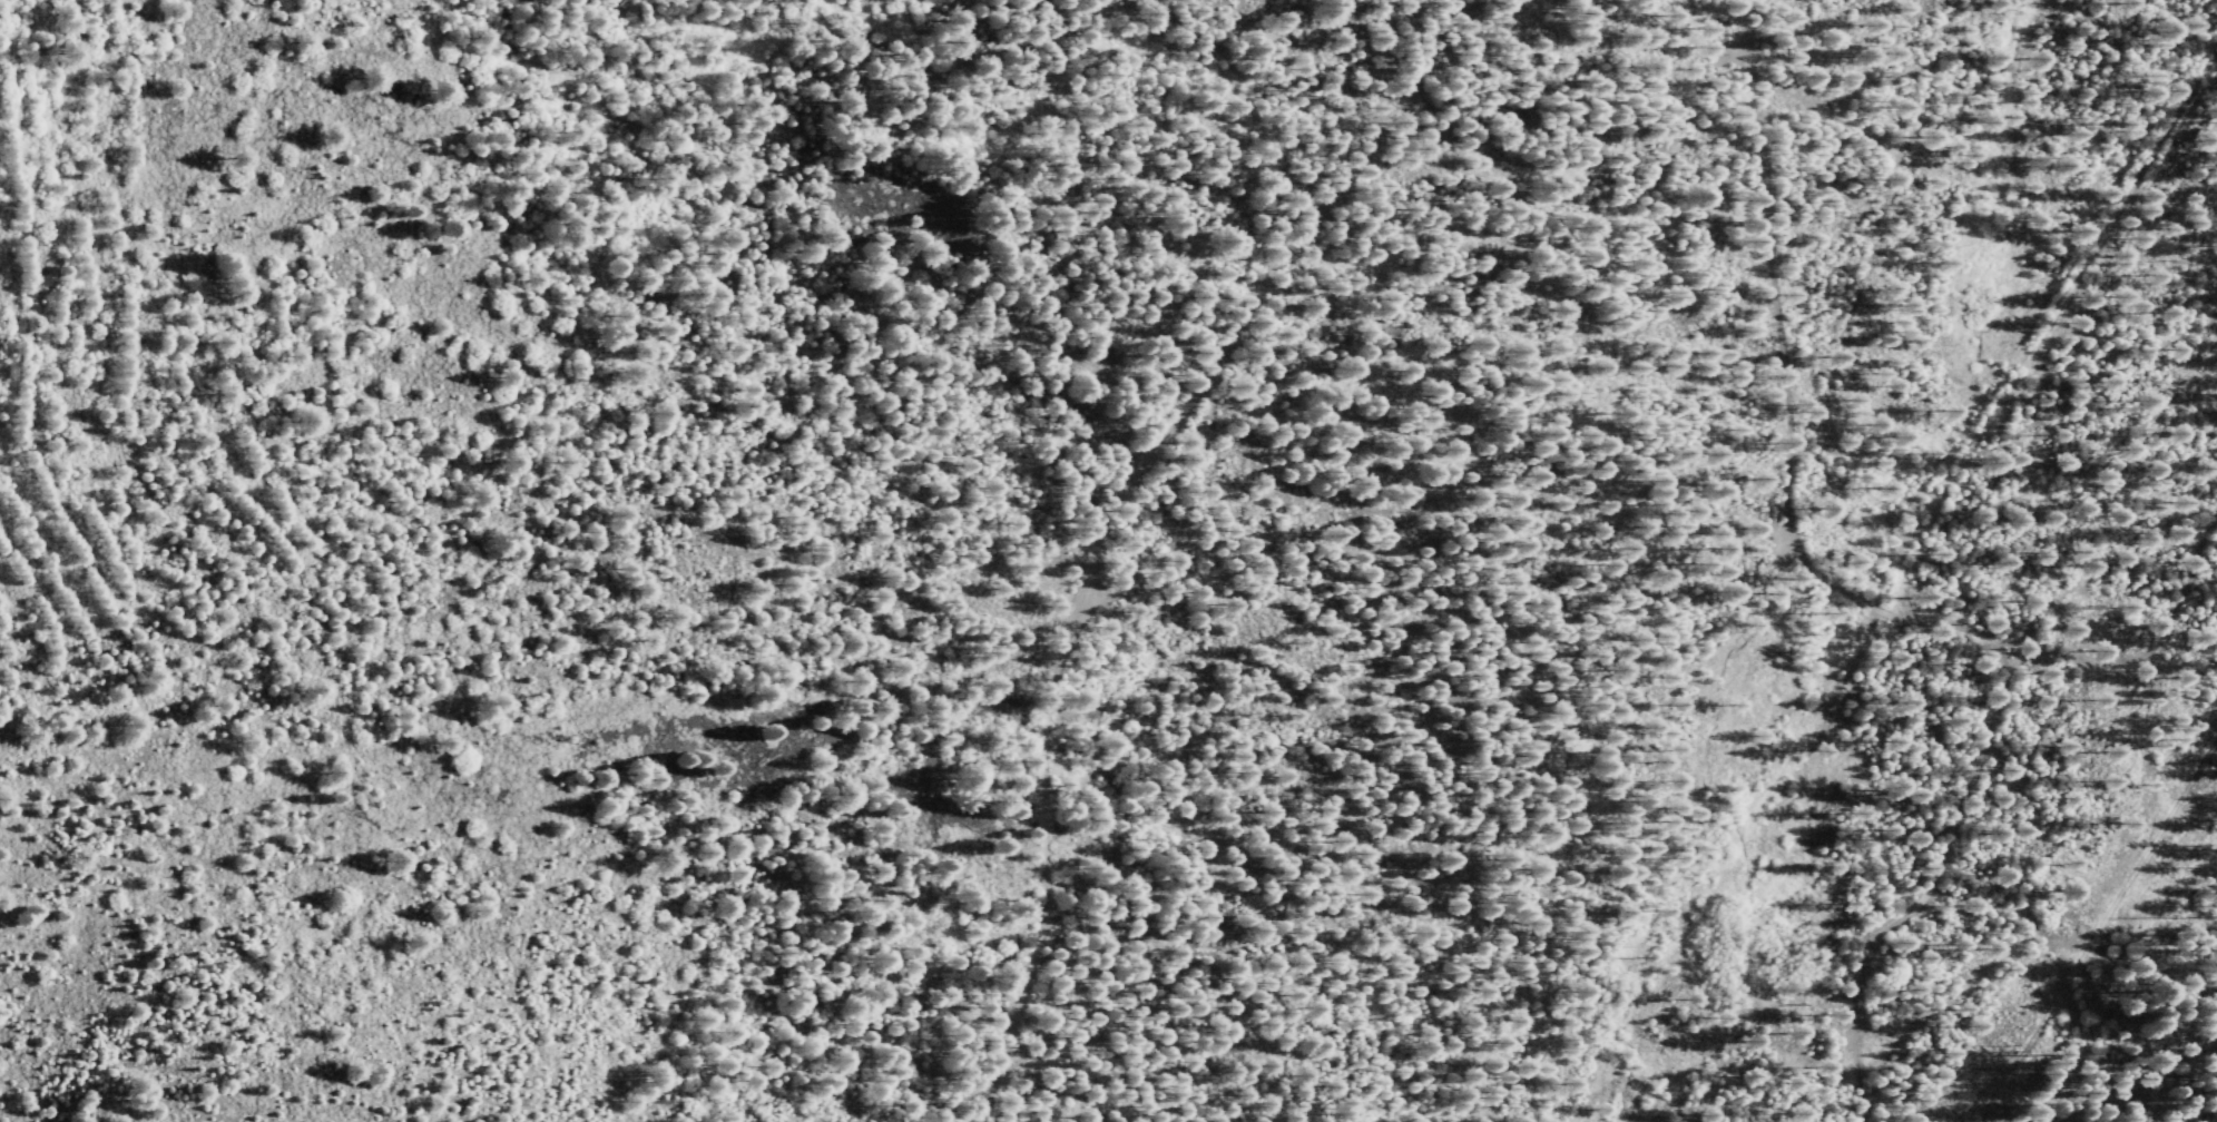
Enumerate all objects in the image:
road: (1198, 395)
road: (1854, 603)
road: (2100, 943)
road: (1034, 968)

